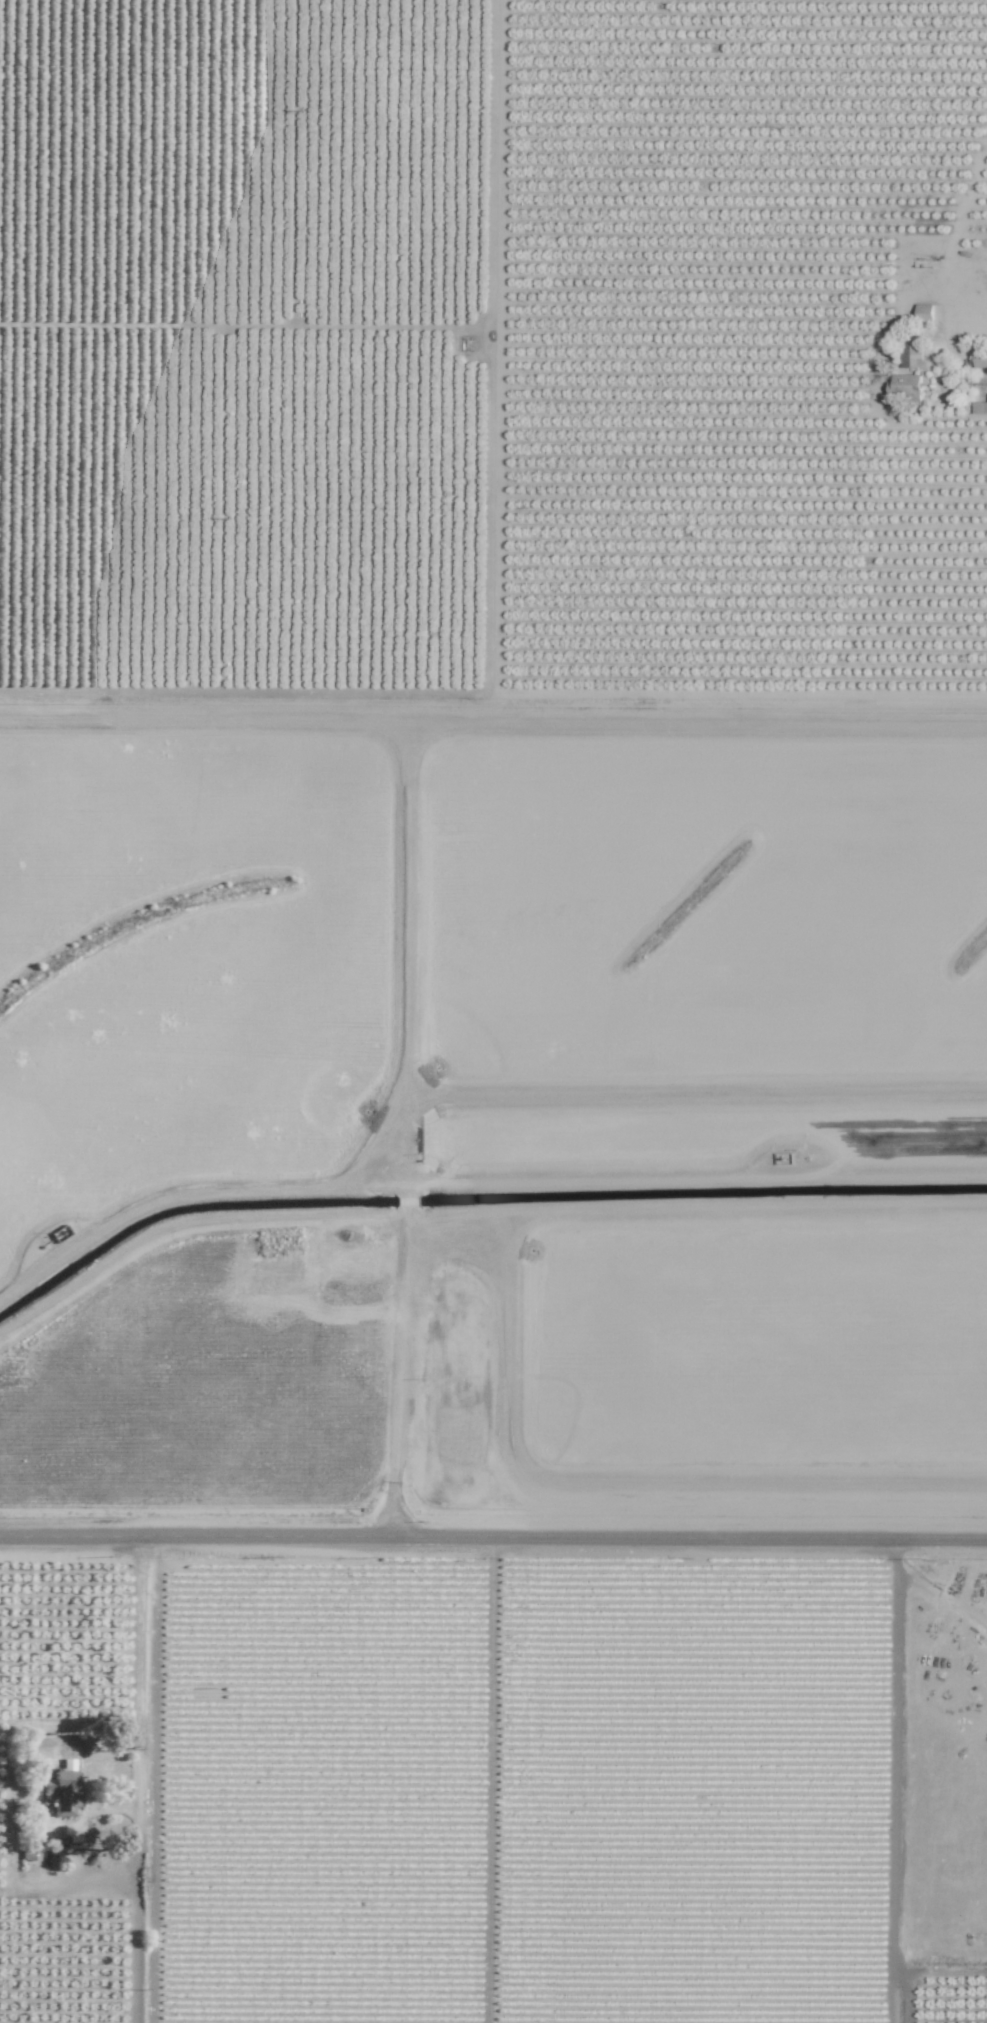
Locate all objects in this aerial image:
building: (923, 310)
building: (981, 359)
building: (980, 408)
road: (493, 1539)
road: (136, 1765)
building: (61, 1792)
road: (132, 1941)

